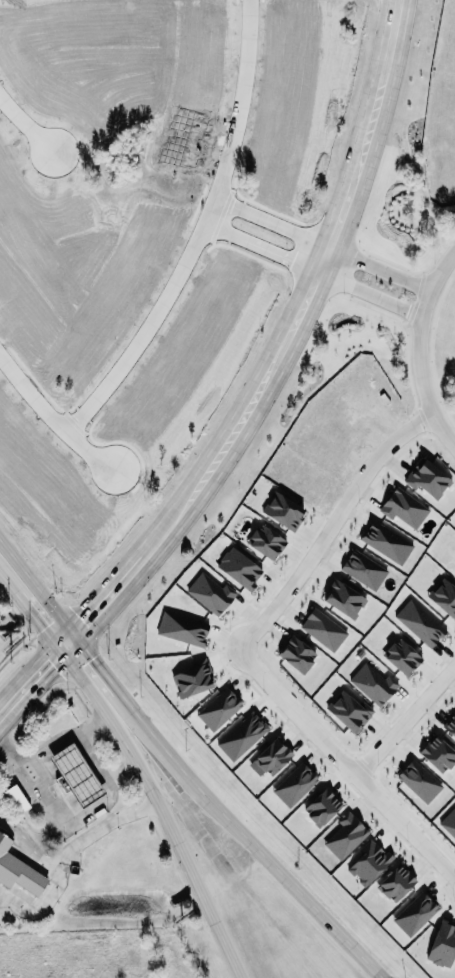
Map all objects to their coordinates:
road: (28, 129)
road: (274, 224)
road: (337, 225)
road: (204, 235)
road: (263, 250)
road: (332, 264)
road: (386, 268)
road: (376, 295)
road: (419, 347)
road: (54, 420)
building: (428, 477)
road: (192, 497)
building: (405, 507)
road: (332, 526)
building: (240, 567)
building: (364, 569)
building: (454, 572)
building: (211, 593)
building: (444, 596)
road: (46, 597)
building: (344, 598)
road: (102, 603)
road: (29, 612)
traffic signals: (86, 622)
traffic signals: (42, 628)
building: (323, 629)
building: (297, 653)
traffic signals: (93, 656)
building: (402, 656)
traffic signals: (50, 661)
road: (29, 681)
building: (374, 683)
building: (219, 709)
road: (406, 719)
building: (273, 756)
road: (347, 763)
building: (77, 774)
building: (419, 781)
building: (295, 784)
building: (17, 798)
road: (159, 809)
road: (64, 818)
road: (233, 822)
building: (449, 822)
building: (346, 835)
road: (30, 843)
road: (71, 852)
building: (19, 870)
building: (396, 883)
building: (415, 913)
building: (443, 945)

